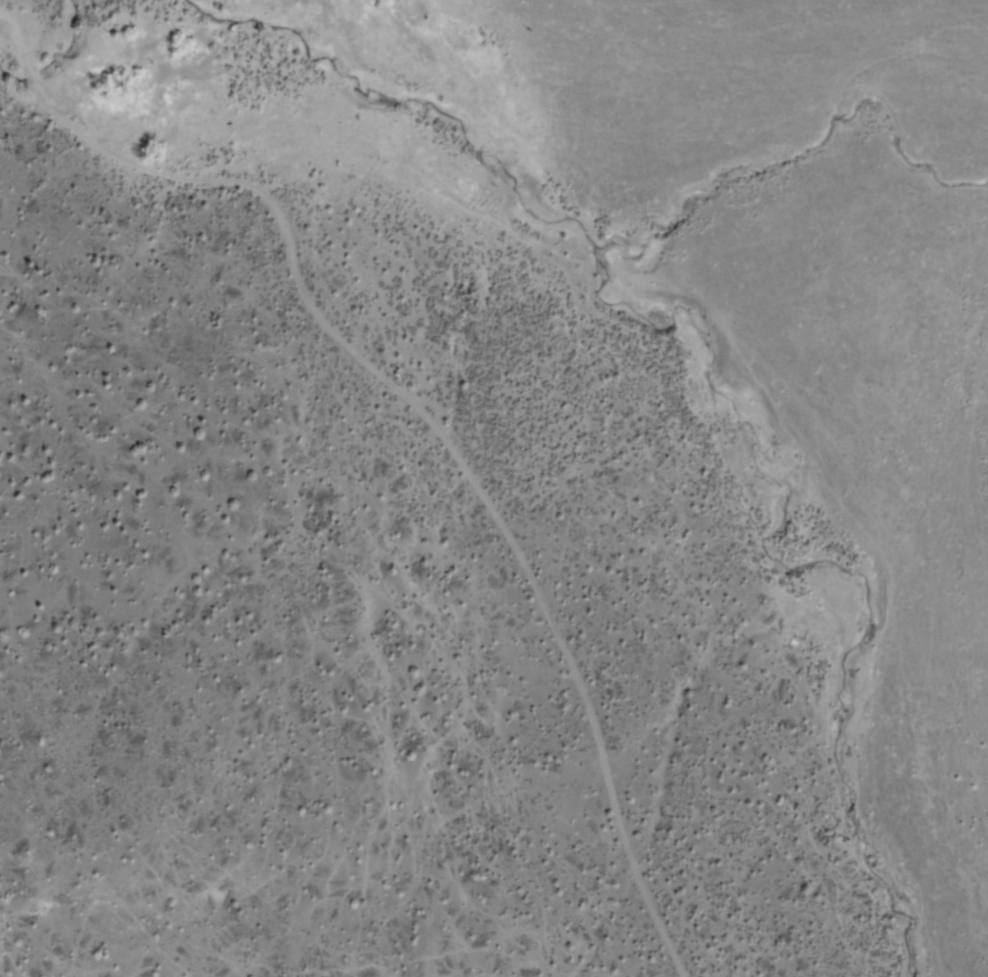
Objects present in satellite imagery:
road: (437, 434)

